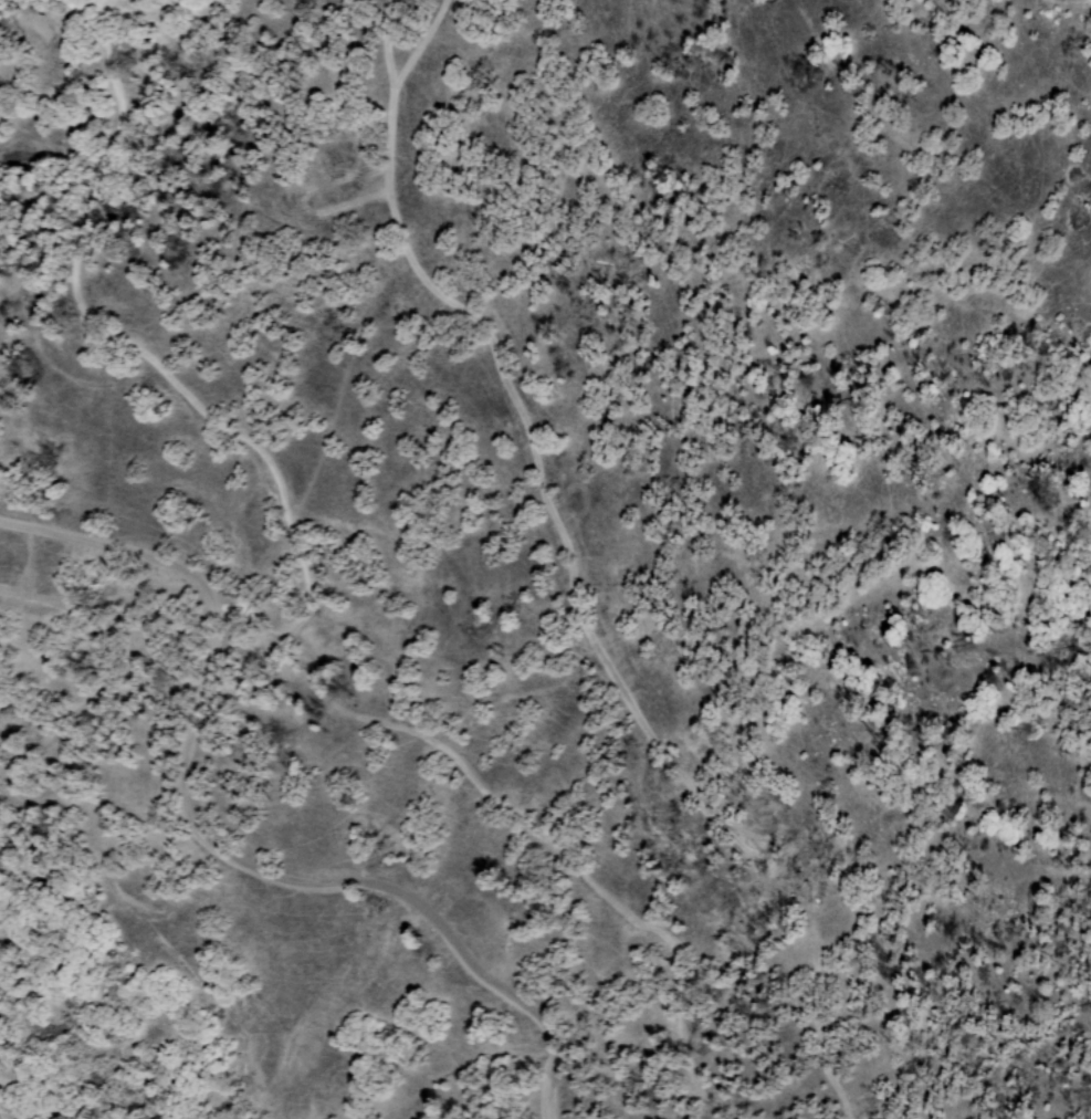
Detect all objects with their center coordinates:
road: (216, 841)

